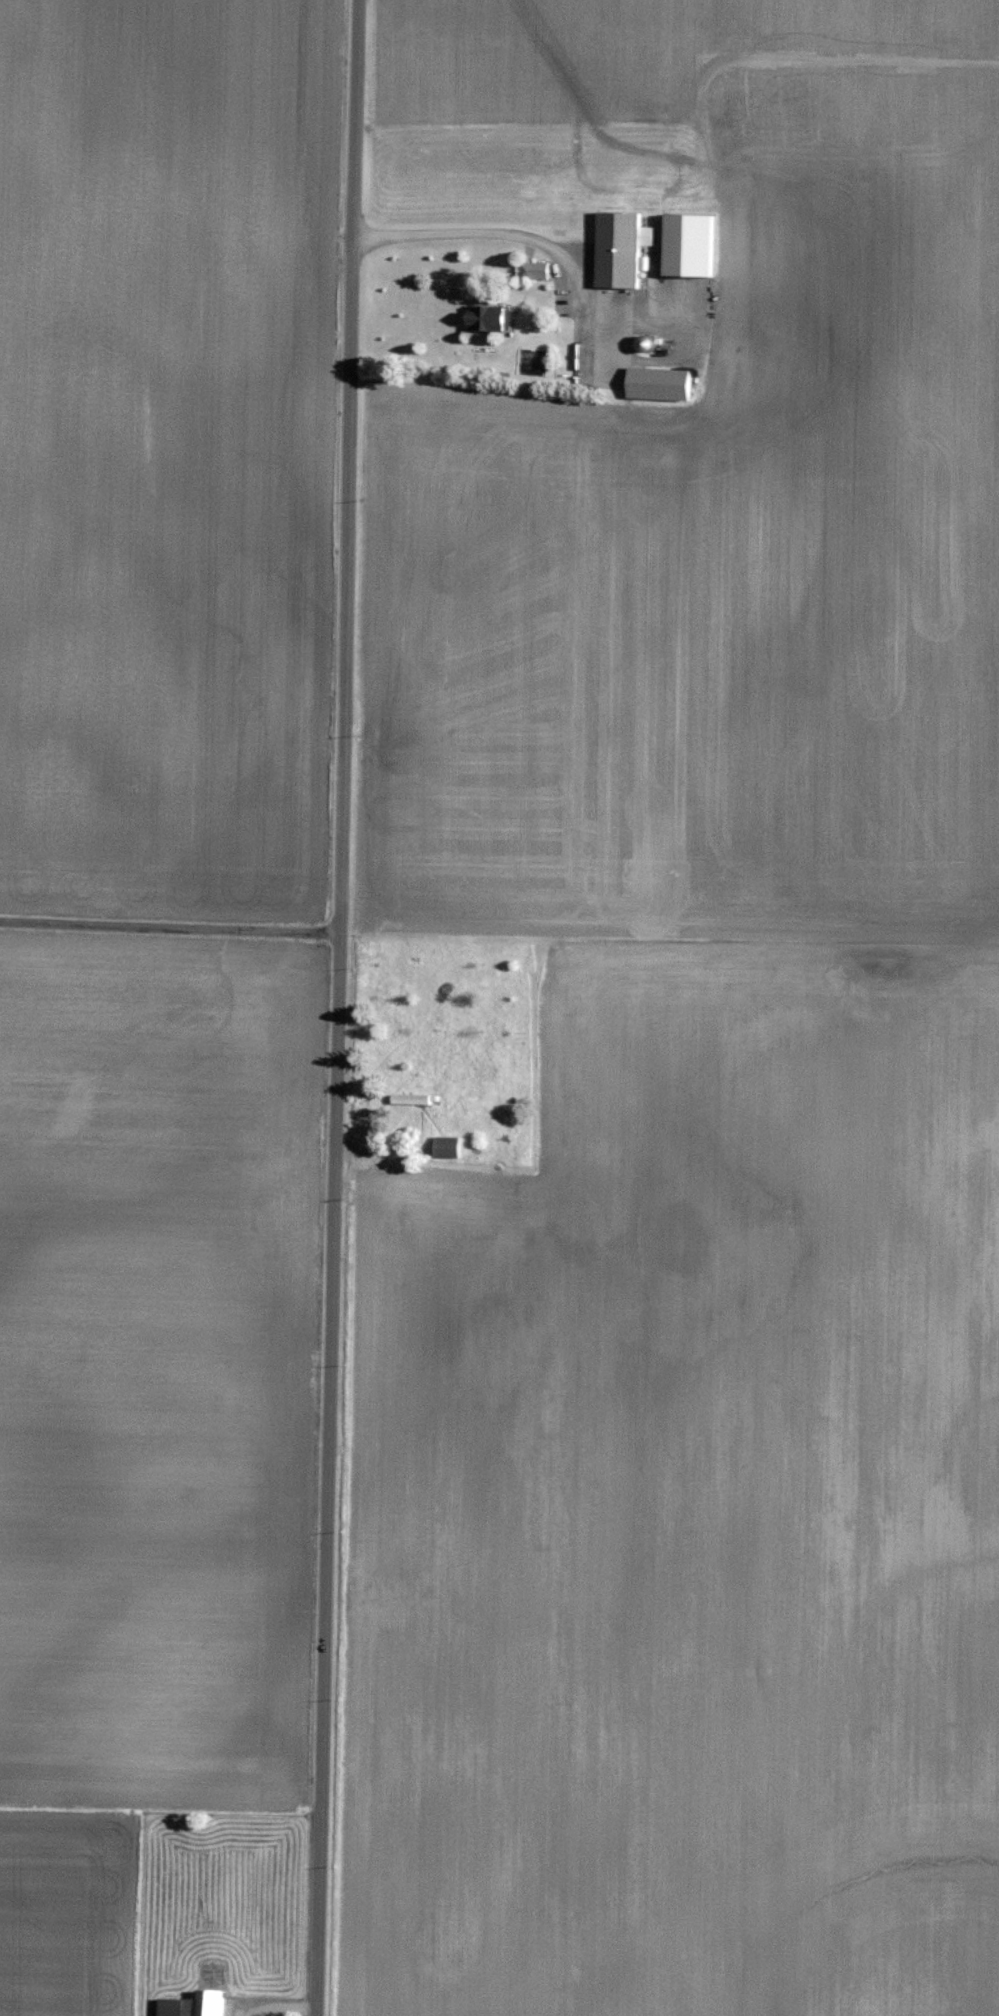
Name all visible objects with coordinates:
road: (511, 231)
building: (694, 242)
building: (540, 267)
building: (497, 314)
road: (585, 381)
building: (664, 381)
road: (168, 923)
road: (335, 1008)
building: (198, 2004)
road: (279, 2006)

